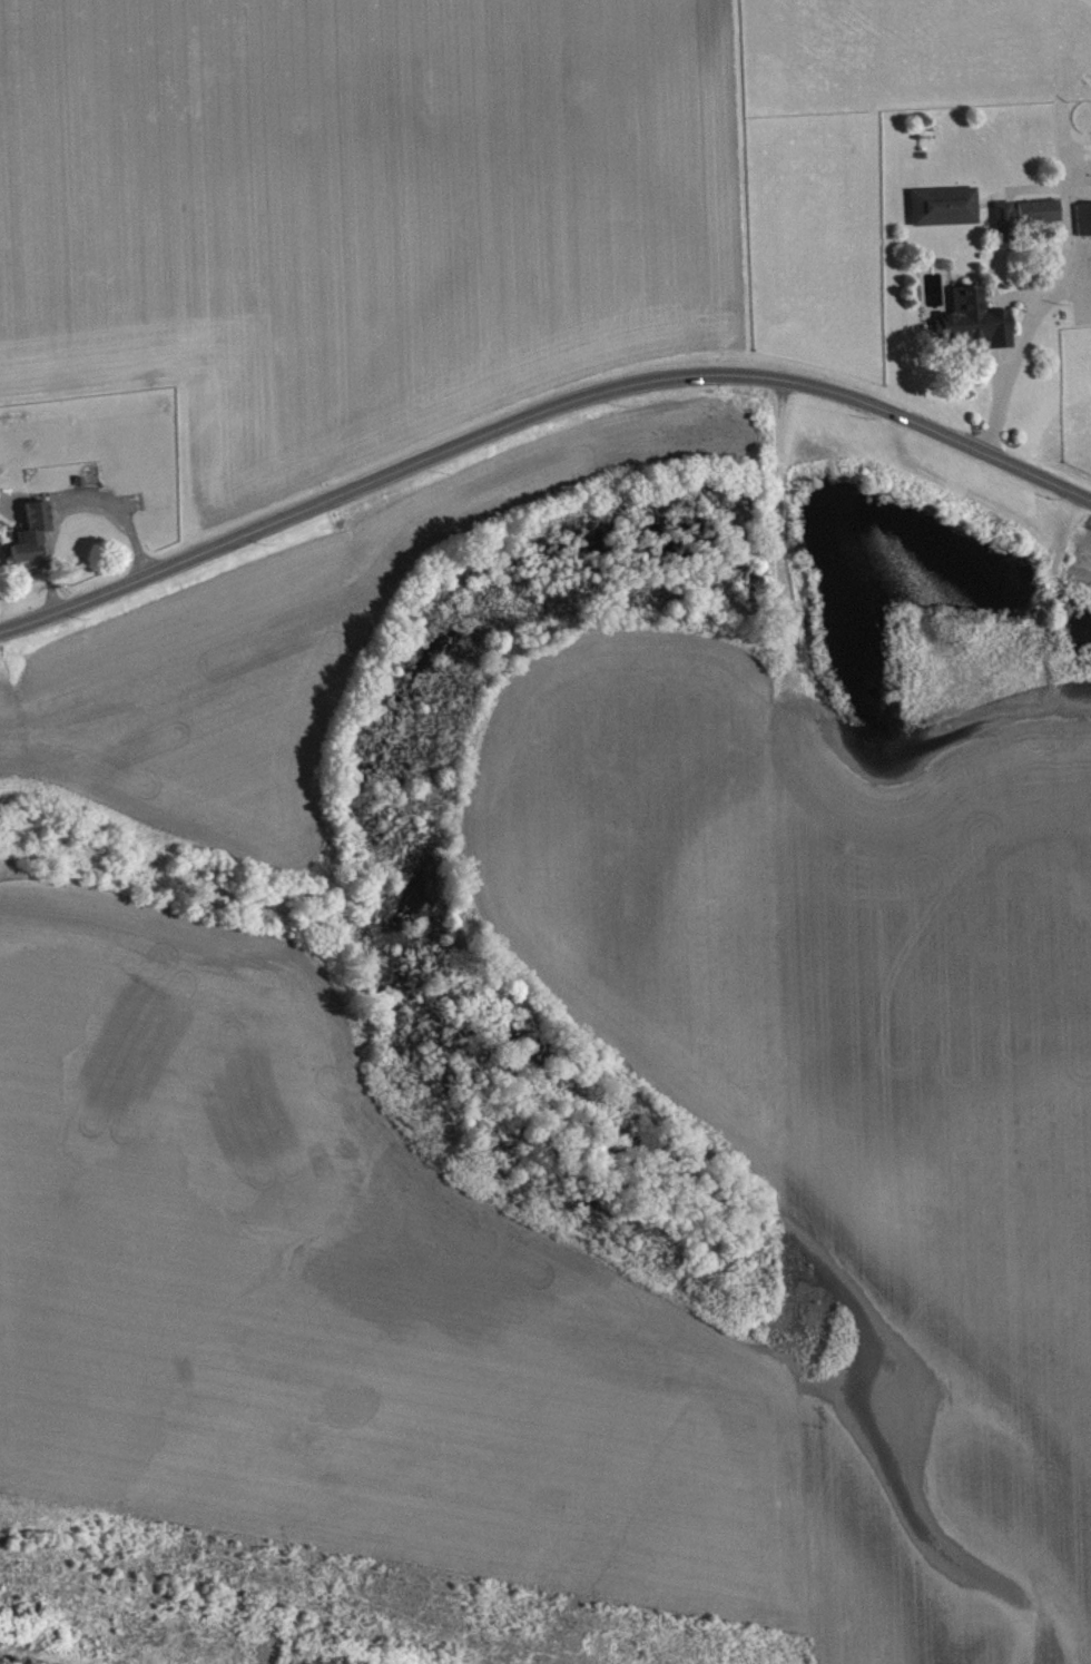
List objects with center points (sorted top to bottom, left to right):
building: (945, 215)
building: (1041, 219)
building: (1084, 227)
building: (1005, 228)
building: (975, 326)
road: (1013, 352)
road: (539, 416)
building: (32, 545)

